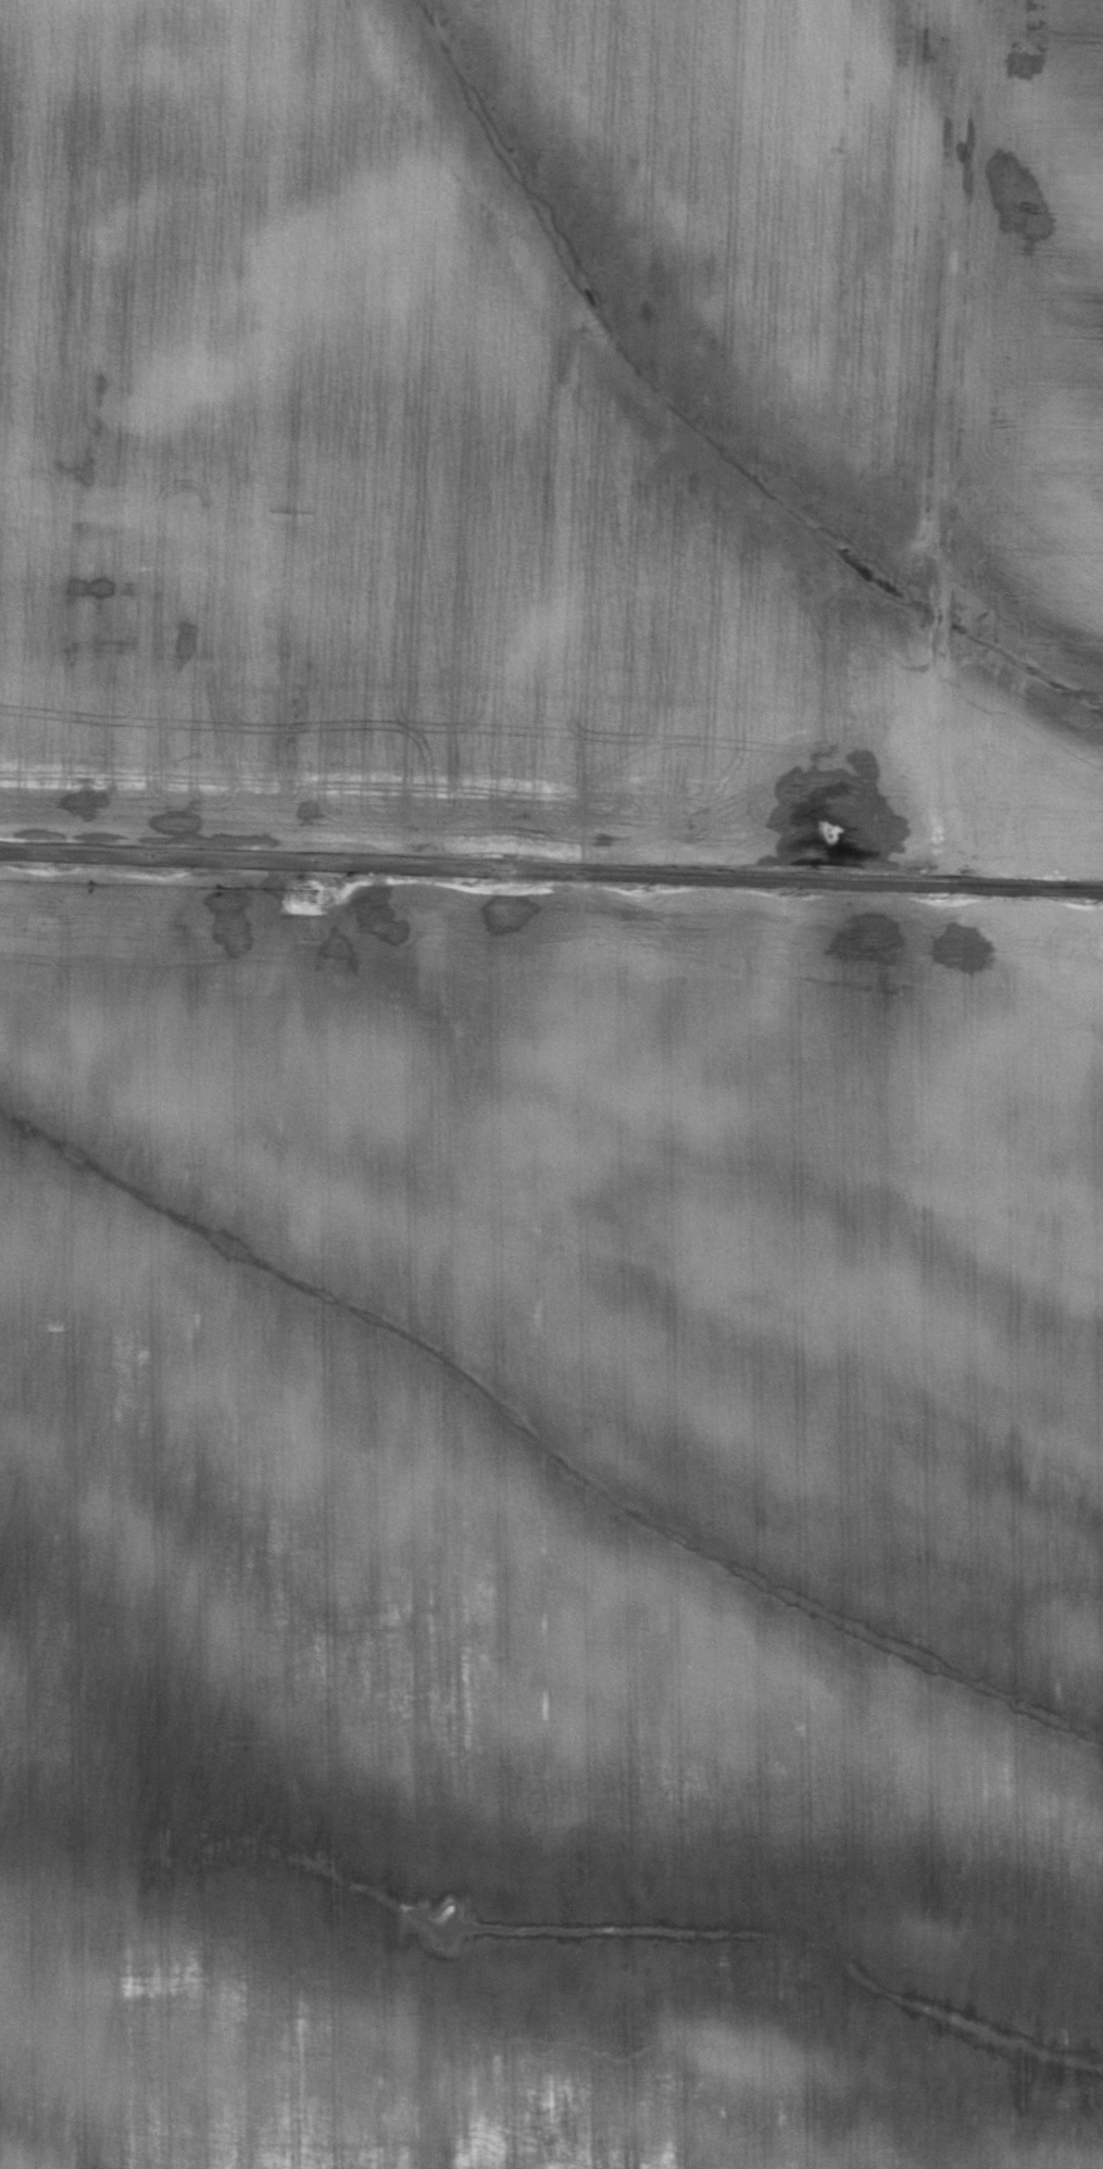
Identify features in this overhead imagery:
crop: (475, 421)
crop: (1033, 446)
road: (551, 861)
crop: (549, 1525)

